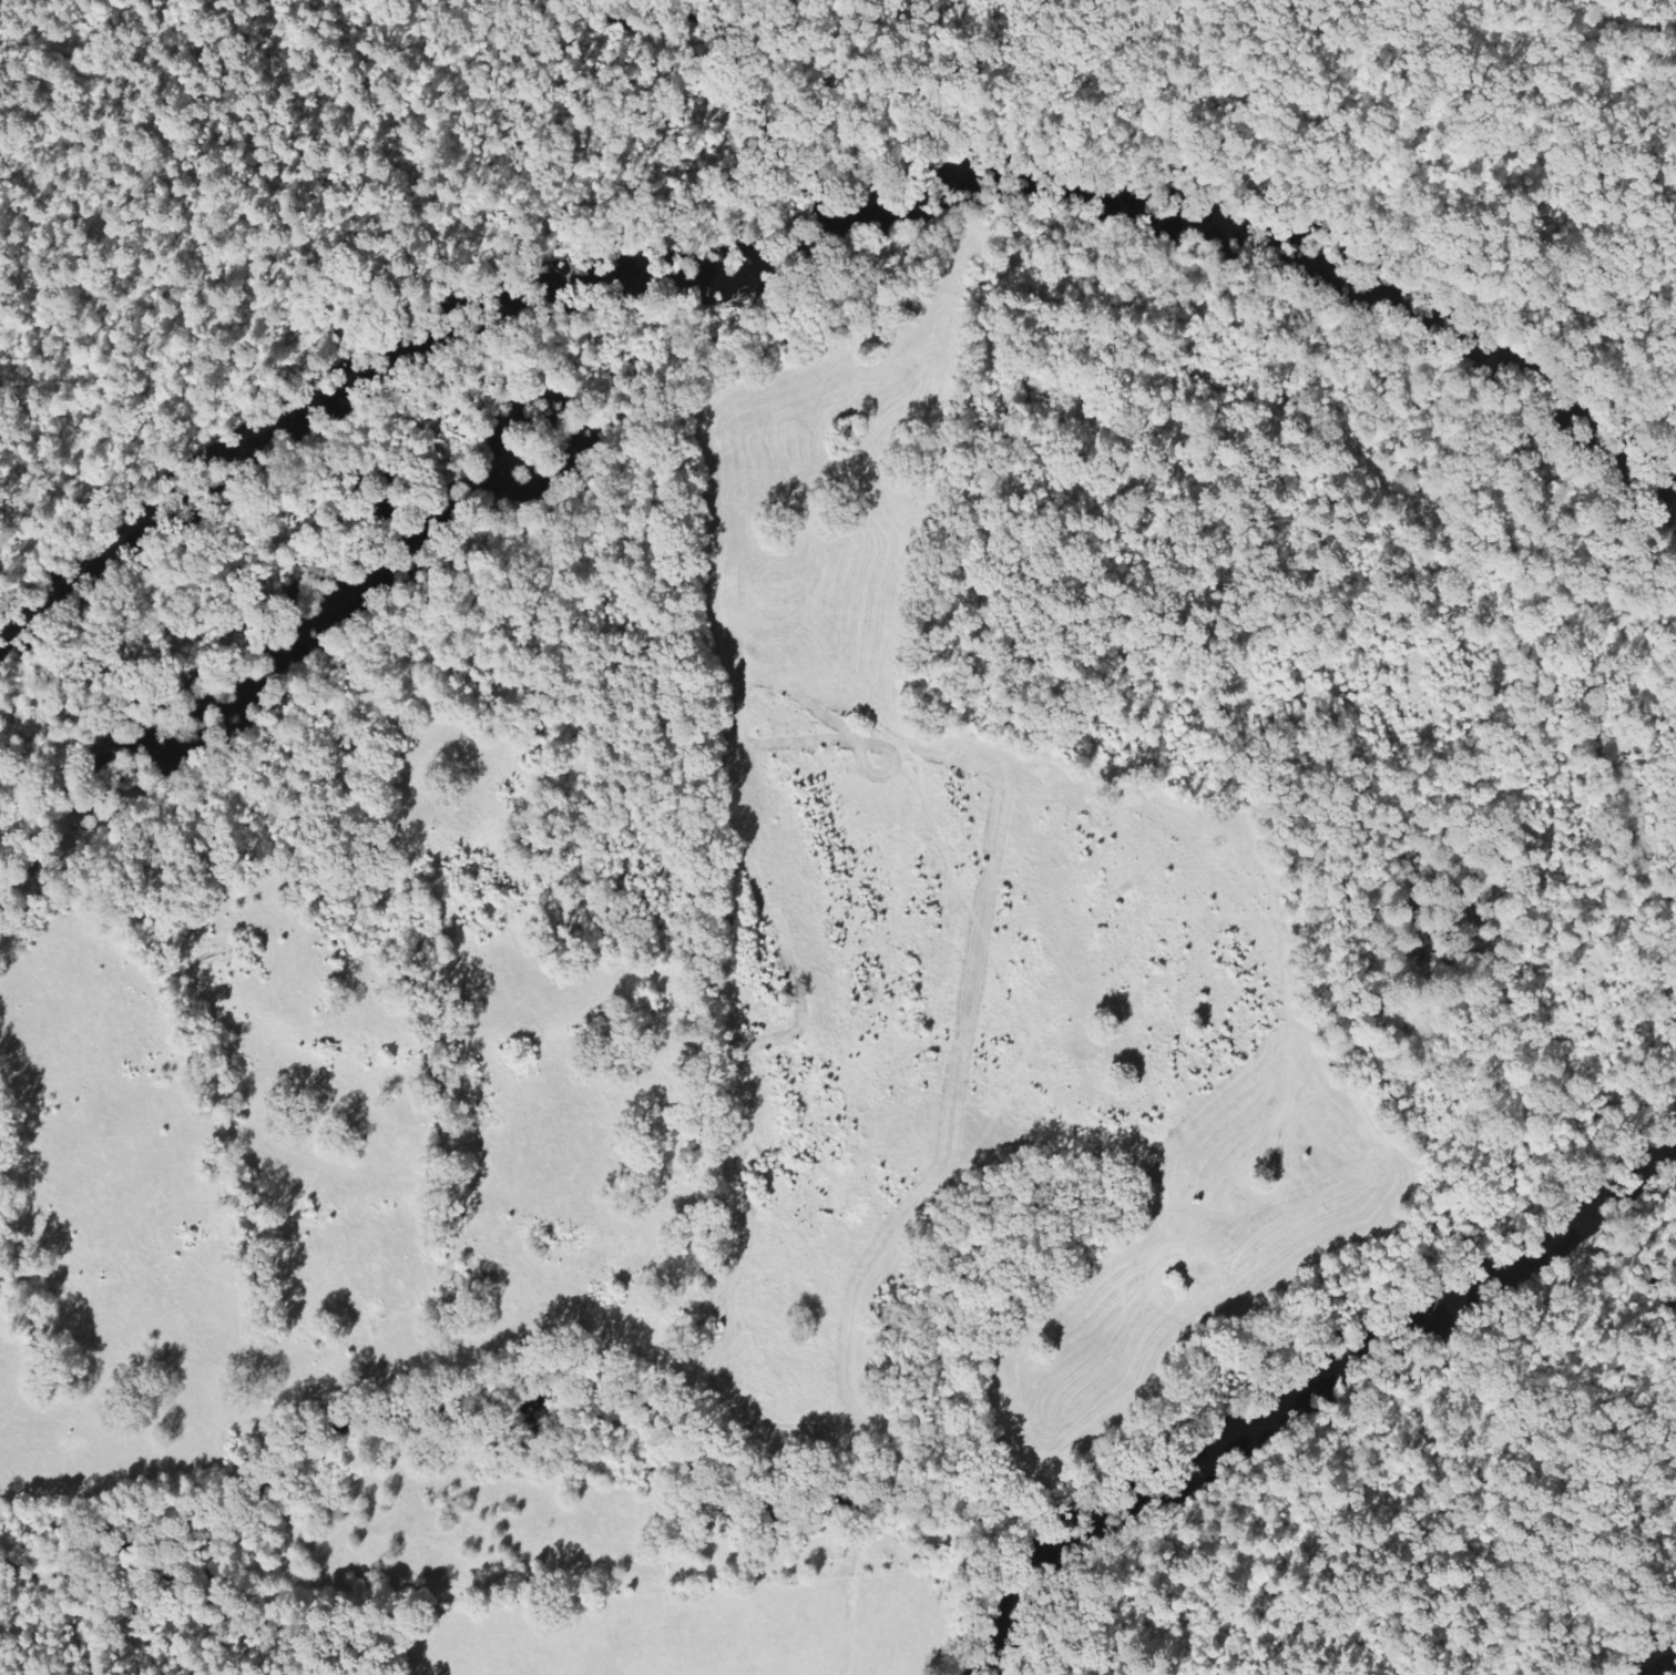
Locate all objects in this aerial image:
road: (1605, 14)
road: (1641, 29)
river: (829, 233)
river: (1307, 1386)
river: (1667, 1667)

